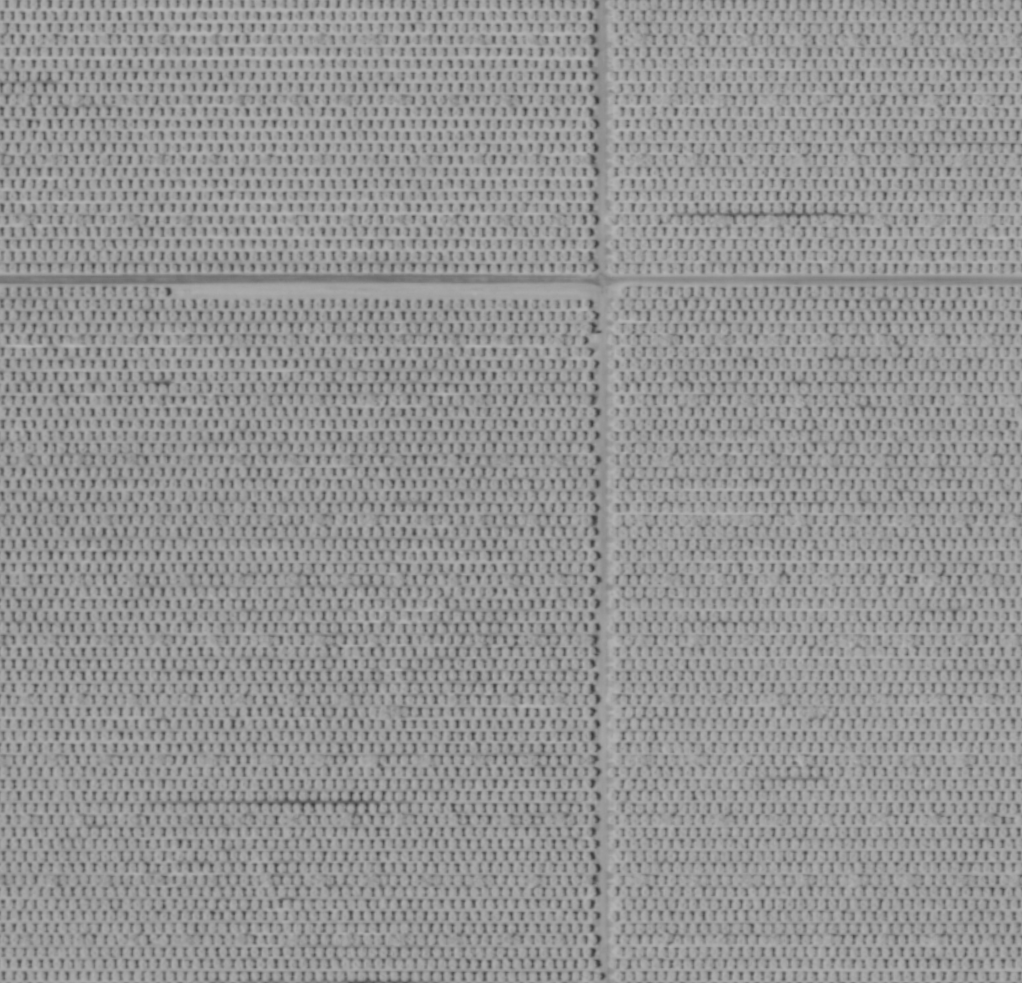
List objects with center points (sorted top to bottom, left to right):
road: (510, 283)
crop: (511, 491)
road: (598, 491)

